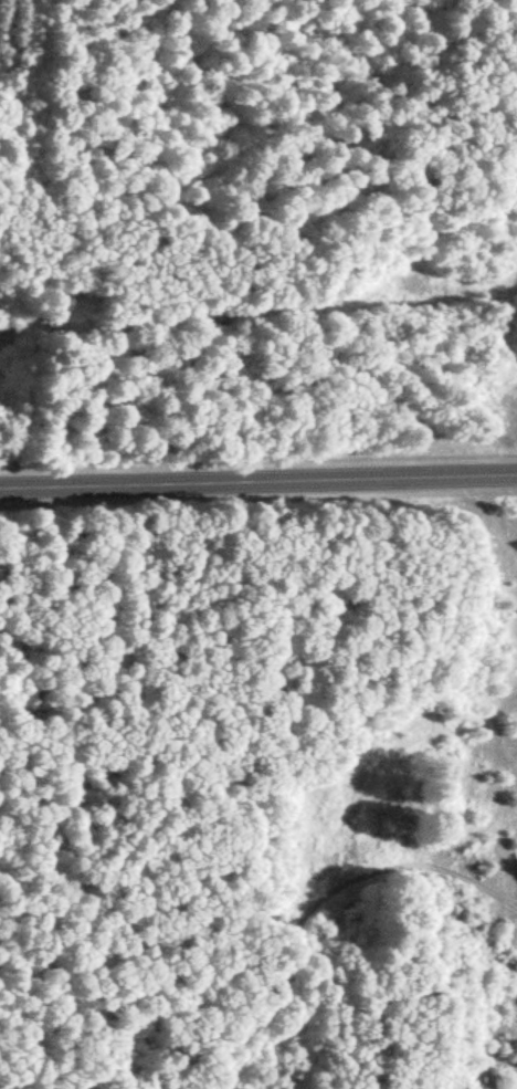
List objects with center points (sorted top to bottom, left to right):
road: (258, 480)

